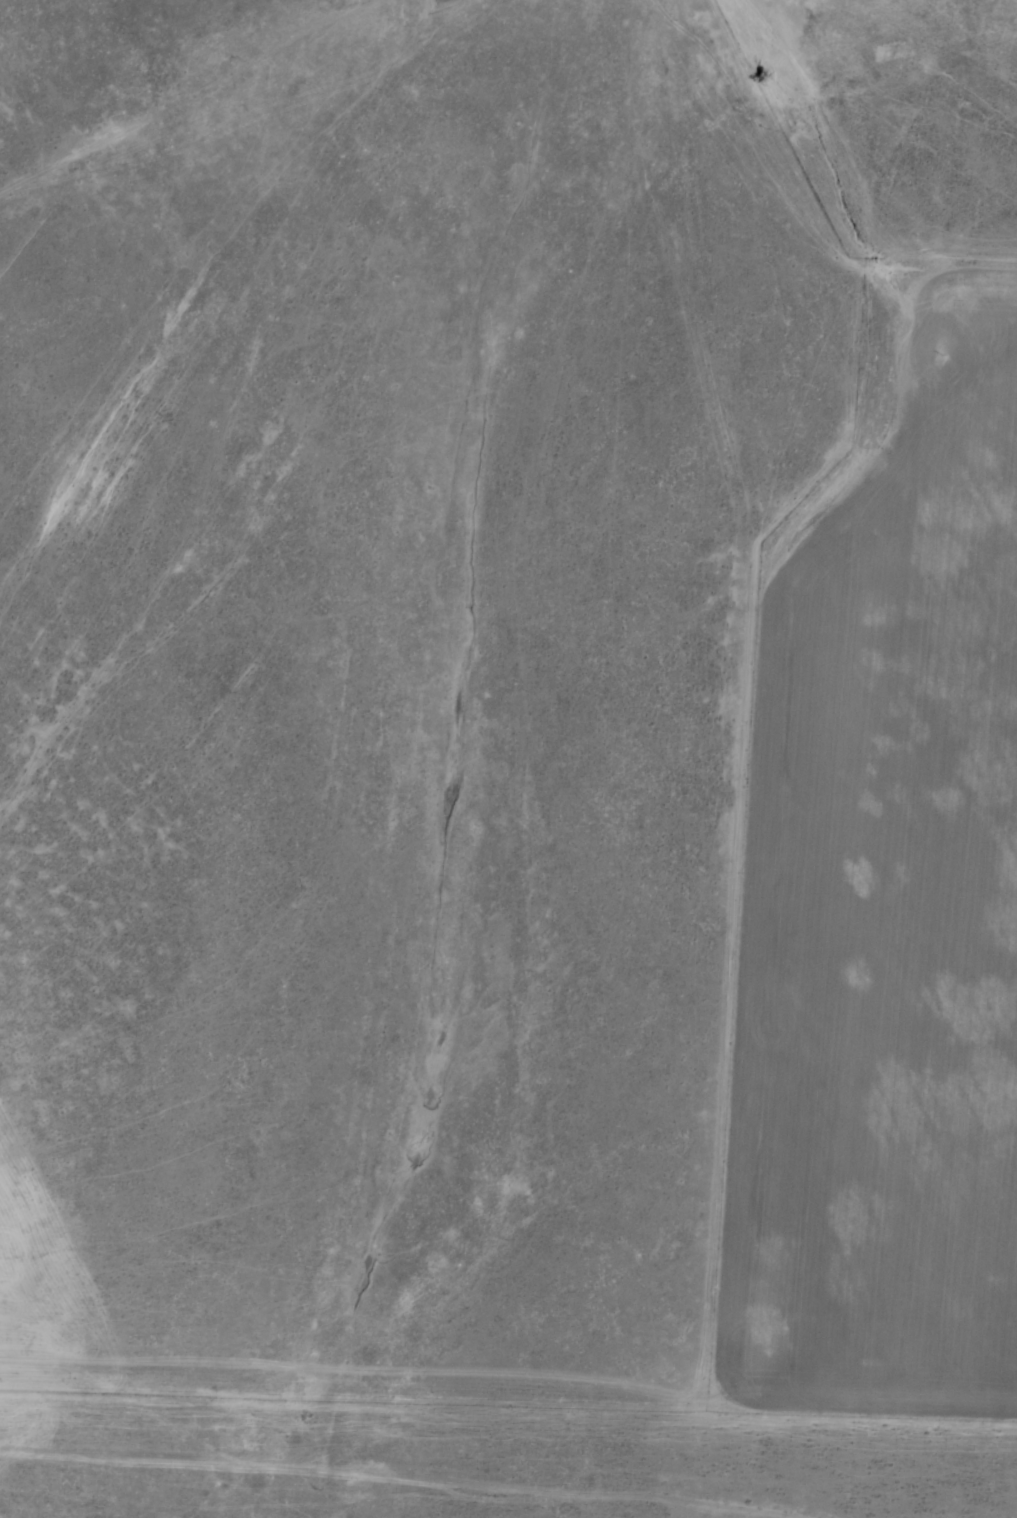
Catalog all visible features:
road: (679, 34)

